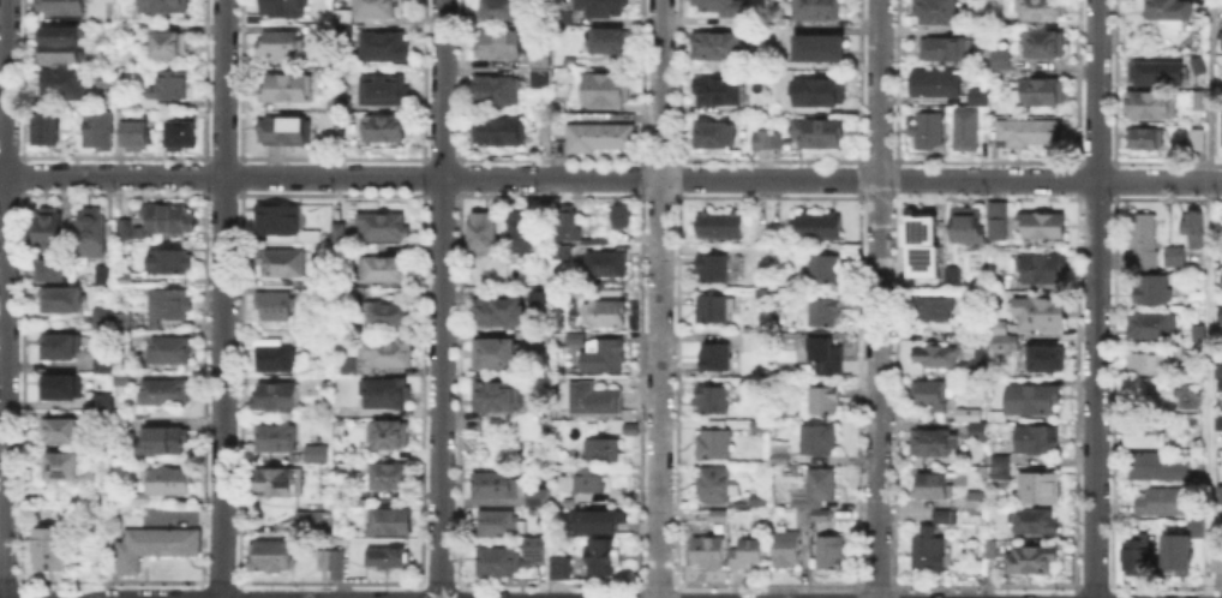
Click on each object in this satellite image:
building: (163, 6)
building: (64, 7)
building: (604, 7)
building: (721, 7)
building: (379, 10)
building: (501, 10)
building: (1042, 10)
building: (1169, 10)
building: (278, 11)
building: (816, 11)
building: (936, 12)
building: (342, 14)
building: (565, 20)
building: (1221, 38)
building: (611, 42)
building: (61, 46)
building: (282, 46)
building: (501, 46)
building: (170, 47)
building: (718, 47)
building: (1044, 47)
building: (384, 48)
building: (820, 49)
building: (944, 50)
building: (1001, 59)
building: (540, 60)
building: (1199, 66)
building: (1220, 71)
building: (1149, 73)
building: (558, 74)
building: (541, 80)
building: (61, 84)
building: (938, 86)
building: (163, 89)
building: (287, 89)
road: (661, 89)
building: (605, 90)
building: (385, 91)
building: (496, 91)
building: (719, 92)
building: (1043, 92)
building: (821, 94)
building: (1200, 102)
building: (1152, 106)
building: (970, 122)
building: (1220, 127)
building: (385, 128)
building: (47, 130)
building: (97, 130)
building: (497, 131)
building: (928, 131)
building: (1026, 131)
building: (137, 132)
building: (819, 132)
building: (181, 133)
building: (287, 133)
building: (546, 133)
building: (715, 137)
building: (601, 138)
building: (1148, 139)
building: (762, 140)
building: (1199, 140)
road: (330, 175)
road: (941, 180)
building: (618, 214)
building: (277, 219)
building: (169, 221)
building: (996, 221)
building: (567, 226)
building: (721, 226)
building: (964, 226)
building: (1038, 226)
building: (816, 227)
building: (125, 228)
building: (917, 228)
building: (383, 229)
building: (49, 231)
building: (1196, 232)
building: (92, 233)
building: (340, 234)
building: (484, 235)
building: (522, 235)
building: (311, 239)
building: (1145, 240)
building: (558, 250)
building: (1175, 258)
building: (921, 259)
building: (604, 262)
building: (170, 263)
building: (281, 263)
building: (382, 269)
building: (713, 269)
building: (826, 269)
building: (1042, 269)
building: (102, 273)
building: (53, 274)
building: (954, 276)
building: (1220, 276)
building: (128, 281)
building: (1000, 283)
building: (315, 292)
building: (1152, 292)
building: (357, 293)
road: (221, 298)
road: (441, 298)
building: (535, 298)
road: (876, 298)
road: (1095, 298)
road: (4, 299)
building: (61, 299)
road: (1209, 299)
building: (167, 307)
building: (275, 307)
building: (713, 311)
building: (935, 311)
building: (823, 312)
building: (499, 313)
building: (605, 315)
building: (1041, 315)
building: (387, 316)
building: (1221, 317)
building: (103, 319)
building: (124, 323)
building: (1154, 327)
building: (1199, 336)
building: (750, 342)
building: (1000, 342)
building: (60, 347)
building: (170, 353)
building: (497, 353)
building: (1179, 353)
building: (826, 354)
building: (604, 357)
building: (379, 358)
building: (717, 358)
building: (935, 358)
building: (1044, 358)
building: (275, 360)
building: (104, 365)
building: (1150, 365)
building: (1216, 367)
building: (124, 379)
building: (323, 379)
building: (1217, 382)
building: (305, 383)
building: (59, 388)
road: (659, 388)
building: (164, 394)
building: (387, 395)
building: (495, 395)
building: (930, 396)
building: (275, 397)
building: (1190, 397)
building: (1034, 399)
building: (103, 400)
building: (595, 400)
building: (712, 401)
building: (825, 401)
building: (750, 403)
building: (965, 415)
building: (998, 417)
building: (1220, 424)
building: (760, 425)
building: (630, 429)
building: (59, 431)
building: (978, 432)
building: (393, 436)
building: (1146, 436)
building: (274, 438)
building: (820, 441)
building: (1035, 441)
building: (168, 442)
building: (933, 442)
building: (714, 443)
building: (604, 449)
building: (777, 452)
building: (317, 453)
building: (1157, 467)
building: (1000, 468)
building: (67, 470)
building: (325, 471)
building: (390, 477)
building: (589, 479)
building: (168, 482)
building: (276, 483)
building: (934, 485)
building: (712, 486)
building: (816, 486)
building: (498, 488)
building: (1041, 489)
building: (1218, 494)
building: (539, 497)
building: (755, 497)
building: (977, 501)
building: (138, 502)
building: (1164, 503)
building: (821, 514)
building: (719, 515)
building: (801, 515)
building: (945, 518)
building: (601, 520)
building: (1034, 521)
building: (316, 522)
building: (389, 524)
building: (498, 526)
building: (1179, 545)
building: (155, 548)
building: (543, 549)
building: (48, 550)
building: (787, 550)
building: (992, 550)
building: (928, 551)
building: (708, 552)
building: (1134, 552)
building: (749, 554)
building: (834, 554)
building: (600, 556)
building: (271, 557)
building: (389, 558)
building: (1218, 558)
building: (1034, 560)
building: (324, 561)
building: (499, 564)
building: (339, 566)
building: (561, 567)

